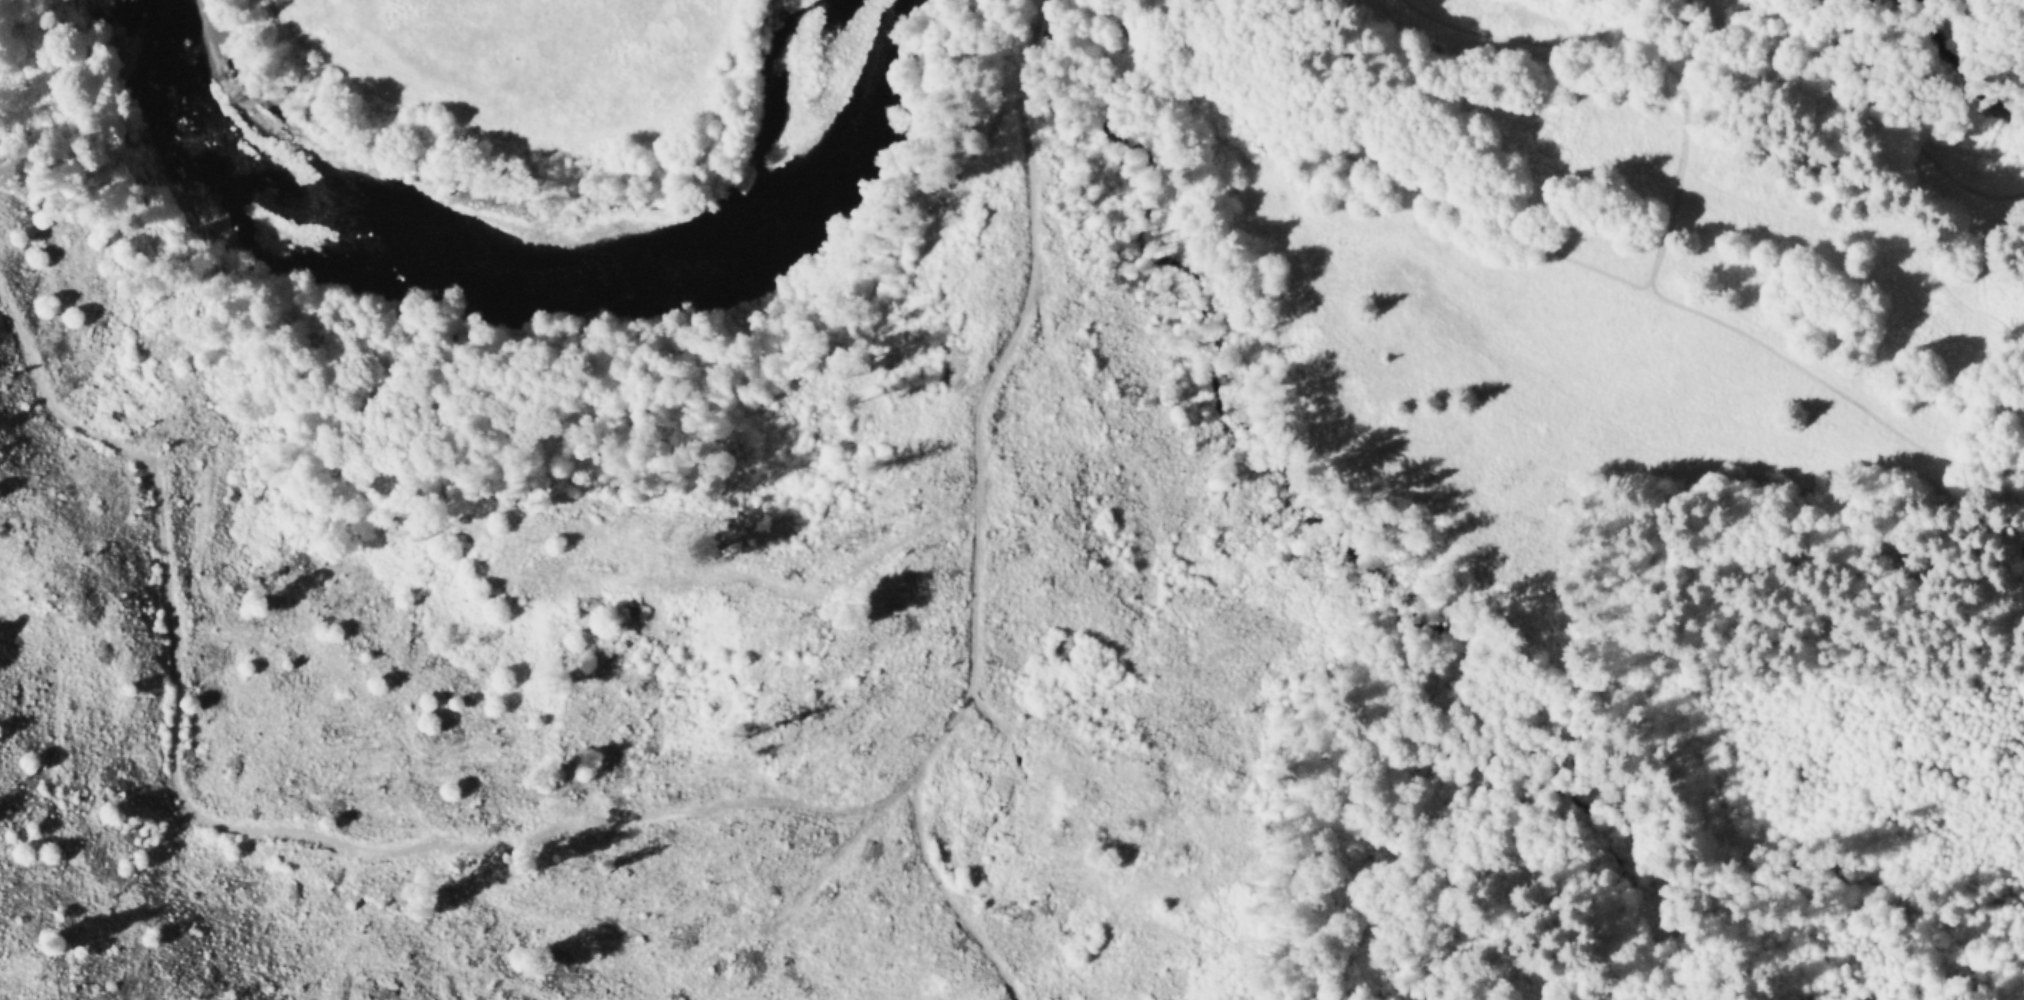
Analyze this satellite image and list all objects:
river: (545, 249)

